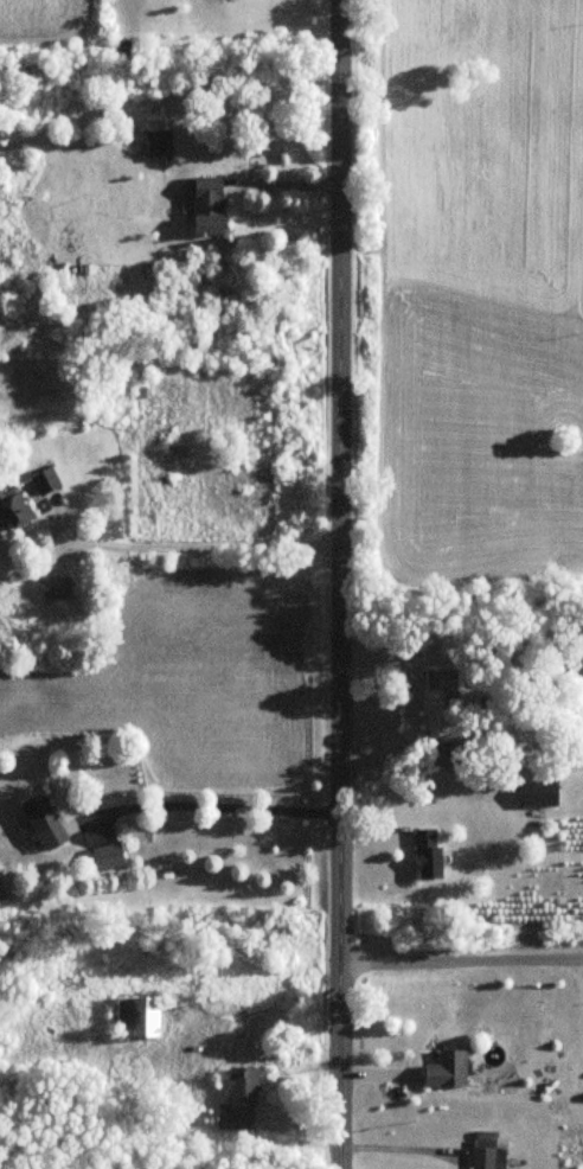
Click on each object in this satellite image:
building: (161, 143)
building: (209, 205)
building: (46, 481)
building: (15, 507)
road: (193, 544)
road: (341, 584)
building: (57, 588)
building: (436, 697)
building: (438, 755)
building: (540, 792)
road: (222, 801)
building: (44, 820)
building: (429, 852)
building: (109, 856)
road: (461, 958)
building: (140, 1017)
building: (448, 1069)
building: (239, 1100)
building: (488, 1158)

